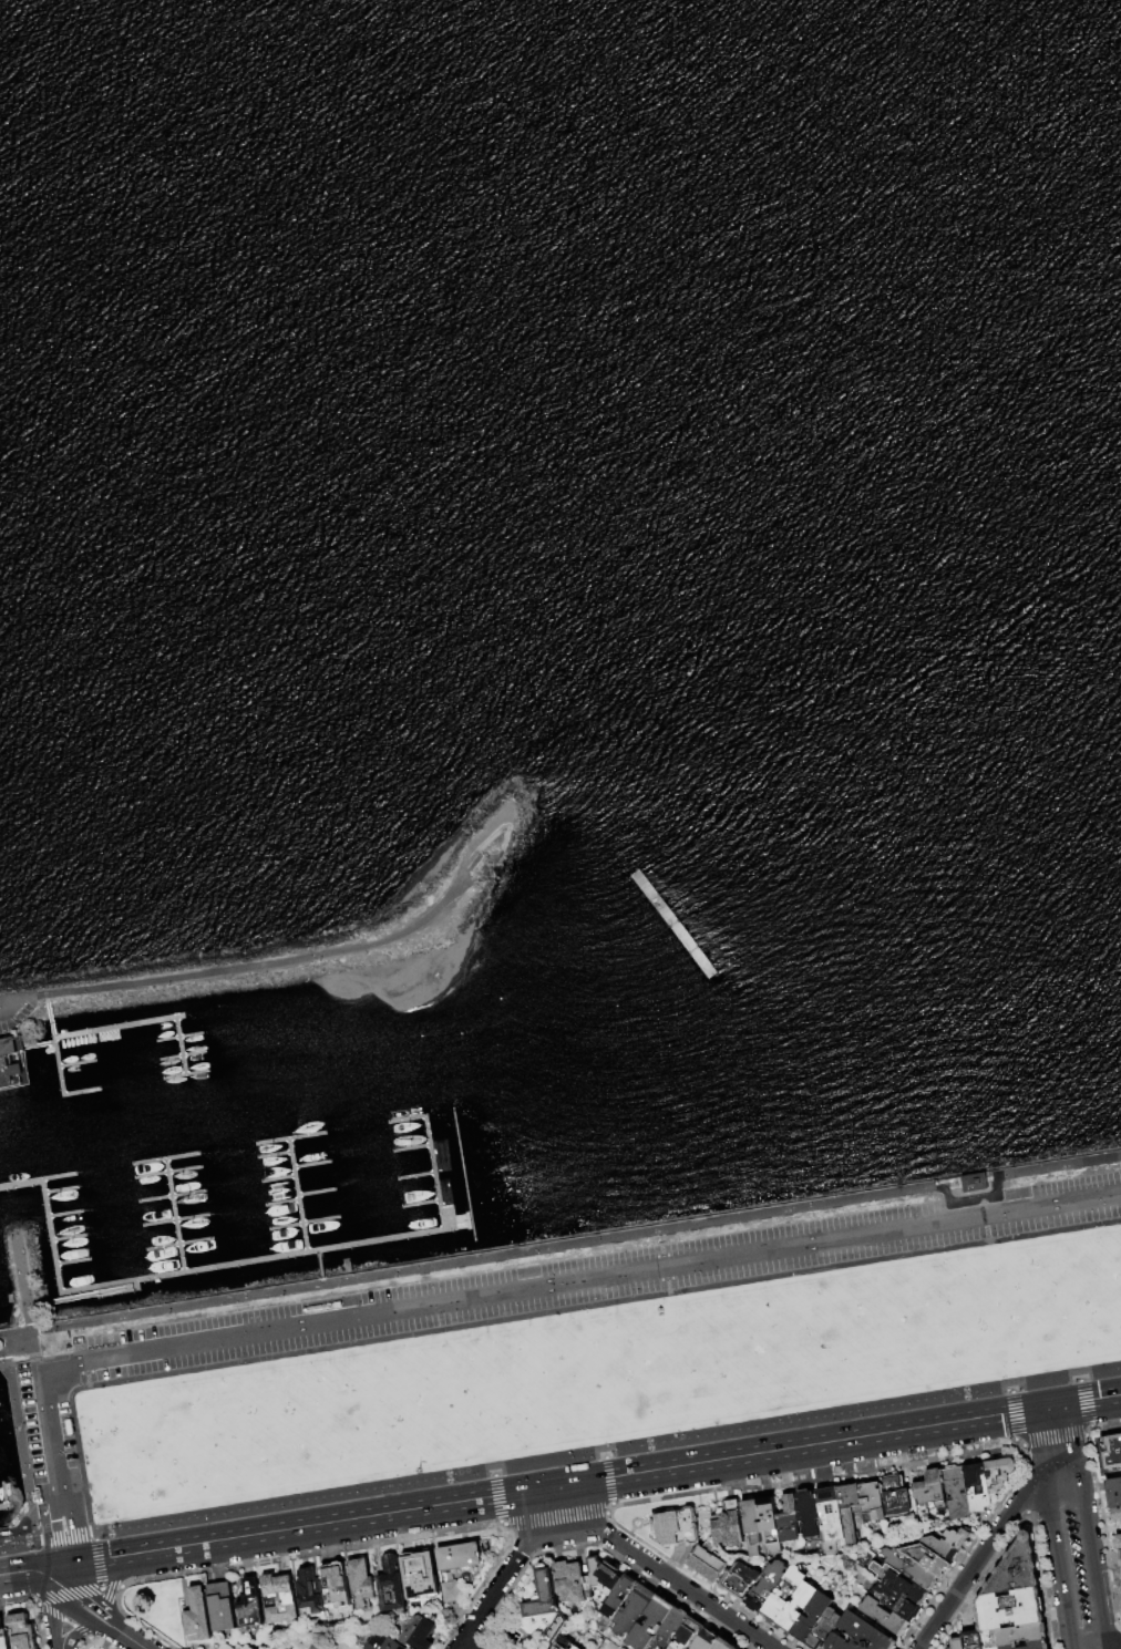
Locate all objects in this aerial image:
road: (305, 959)
road: (16, 1002)
parking lot: (16, 1020)
pier: (140, 1023)
pier: (178, 1038)
pier: (40, 1045)
pier: (54, 1045)
pier: (181, 1045)
pier: (182, 1057)
pier: (12, 1061)
building: (13, 1061)
pier: (75, 1062)
pier: (185, 1073)
pier: (81, 1091)
pier: (407, 1119)
pier: (289, 1137)
pier: (411, 1148)
pier: (272, 1155)
pier: (164, 1157)
pier: (310, 1164)
pier: (166, 1172)
pier: (434, 1172)
pier: (415, 1176)
pier: (277, 1178)
pier: (38, 1181)
building: (975, 1181)
pier: (61, 1189)
pier: (316, 1193)
pier: (296, 1195)
pier: (169, 1196)
pier: (280, 1203)
pier: (420, 1203)
pier: (64, 1213)
pier: (174, 1215)
pier: (174, 1219)
pier: (302, 1223)
pier: (51, 1236)
pier: (69, 1237)
road: (595, 1239)
pier: (178, 1244)
pier: (251, 1260)
pier: (72, 1261)
road: (580, 1280)
road: (22, 1281)
parking lot: (538, 1291)
pier: (88, 1294)
road: (33, 1303)
road: (525, 1316)
road: (14, 1333)
pier: (4, 1343)
building: (0, 1346)
road: (23, 1350)
road: (37, 1359)
park: (601, 1374)
road: (1078, 1378)
road: (1010, 1389)
road: (1084, 1402)
traffic signals: (1050, 1406)
road: (1012, 1415)
road: (1105, 1424)
road: (1090, 1426)
road: (1088, 1431)
road: (1052, 1440)
road: (20, 1441)
road: (51, 1443)
road: (1017, 1443)
road: (1057, 1445)
road: (607, 1451)
building: (1112, 1453)
road: (604, 1454)
road: (934, 1459)
road: (494, 1472)
building: (1000, 1475)
road: (595, 1478)
road: (608, 1480)
building: (978, 1487)
building: (932, 1490)
pier: (3, 1494)
building: (958, 1494)
building: (1113, 1494)
road: (496, 1497)
building: (850, 1497)
building: (896, 1498)
building: (872, 1503)
pier: (4, 1507)
road: (610, 1509)
building: (810, 1514)
building: (832, 1515)
building: (1117, 1516)
road: (555, 1517)
road: (500, 1522)
building: (789, 1522)
road: (502, 1523)
building: (771, 1525)
road: (1101, 1525)
building: (730, 1526)
building: (677, 1528)
building: (753, 1528)
road: (91, 1533)
road: (64, 1536)
road: (93, 1536)
road: (65, 1539)
building: (959, 1539)
road: (385, 1540)
road: (20, 1543)
building: (1119, 1544)
building: (942, 1549)
road: (981, 1554)
building: (1120, 1555)
building: (461, 1557)
building: (928, 1559)
road: (97, 1560)
road: (1091, 1563)
traffic signals: (70, 1564)
building: (709, 1564)
road: (1060, 1565)
road: (34, 1569)
road: (508, 1569)
building: (912, 1569)
building: (1016, 1570)
road: (660, 1571)
building: (421, 1575)
building: (606, 1579)
road: (114, 1580)
parking lot: (1080, 1580)
road: (701, 1581)
building: (742, 1581)
building: (572, 1583)
building: (362, 1584)
building: (902, 1585)
road: (100, 1586)
road: (122, 1586)
building: (392, 1586)
road: (111, 1587)
building: (337, 1587)
building: (768, 1587)
building: (786, 1593)
building: (311, 1594)
building: (453, 1594)
road: (69, 1596)
building: (544, 1596)
building: (281, 1600)
building: (618, 1600)
road: (92, 1602)
building: (896, 1602)
road: (54, 1605)
building: (251, 1607)
building: (798, 1607)
building: (223, 1609)
building: (1010, 1610)
road: (50, 1611)
road: (78, 1611)
building: (636, 1611)
building: (885, 1617)
building: (199, 1618)
building: (812, 1618)
road: (68, 1622)
road: (135, 1622)
building: (654, 1624)
building: (549, 1627)
building: (672, 1629)
building: (824, 1629)
building: (24, 1631)
road: (81, 1631)
building: (421, 1632)
road: (78, 1633)
building: (4, 1635)
building: (690, 1635)
building: (861, 1635)
building: (1022, 1636)
building: (708, 1640)
building: (973, 1640)
road: (133, 1642)
building: (384, 1642)
building: (564, 1643)
building: (957, 1643)
building: (724, 1645)
road: (464, 1646)
building: (1038, 1646)
building: (226, 1647)
road: (1113, 1647)
building: (240, 1648)
building: (248, 1648)
building: (576, 1648)
building: (1009, 1648)

